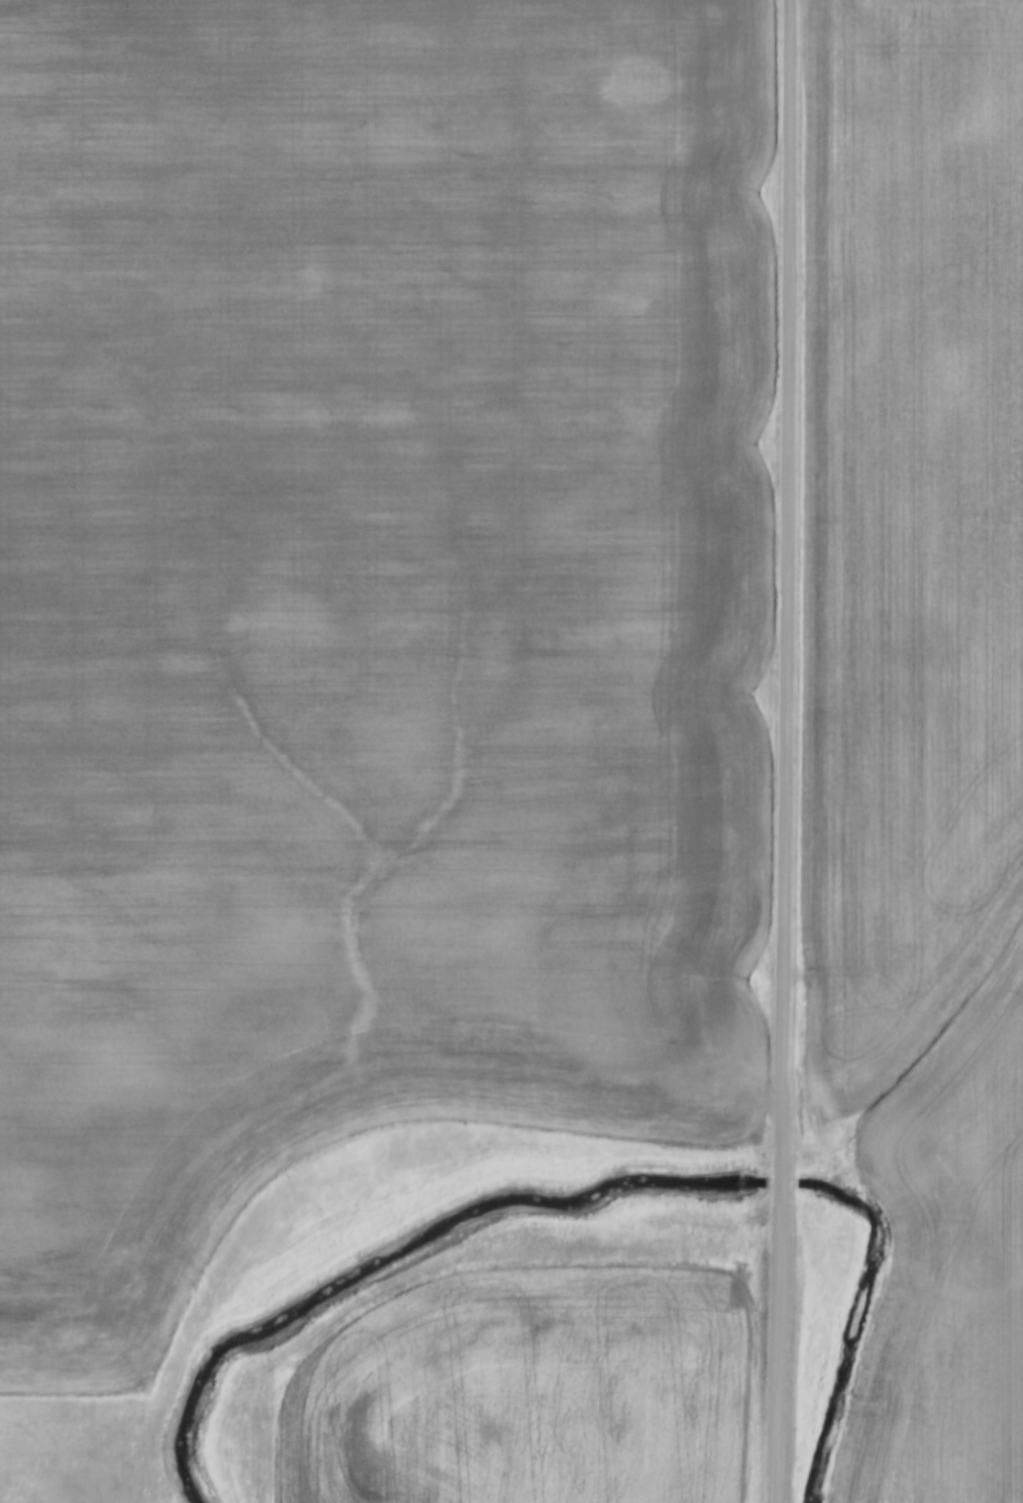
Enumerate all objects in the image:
road: (790, 593)
road: (781, 1192)
road: (778, 1350)

